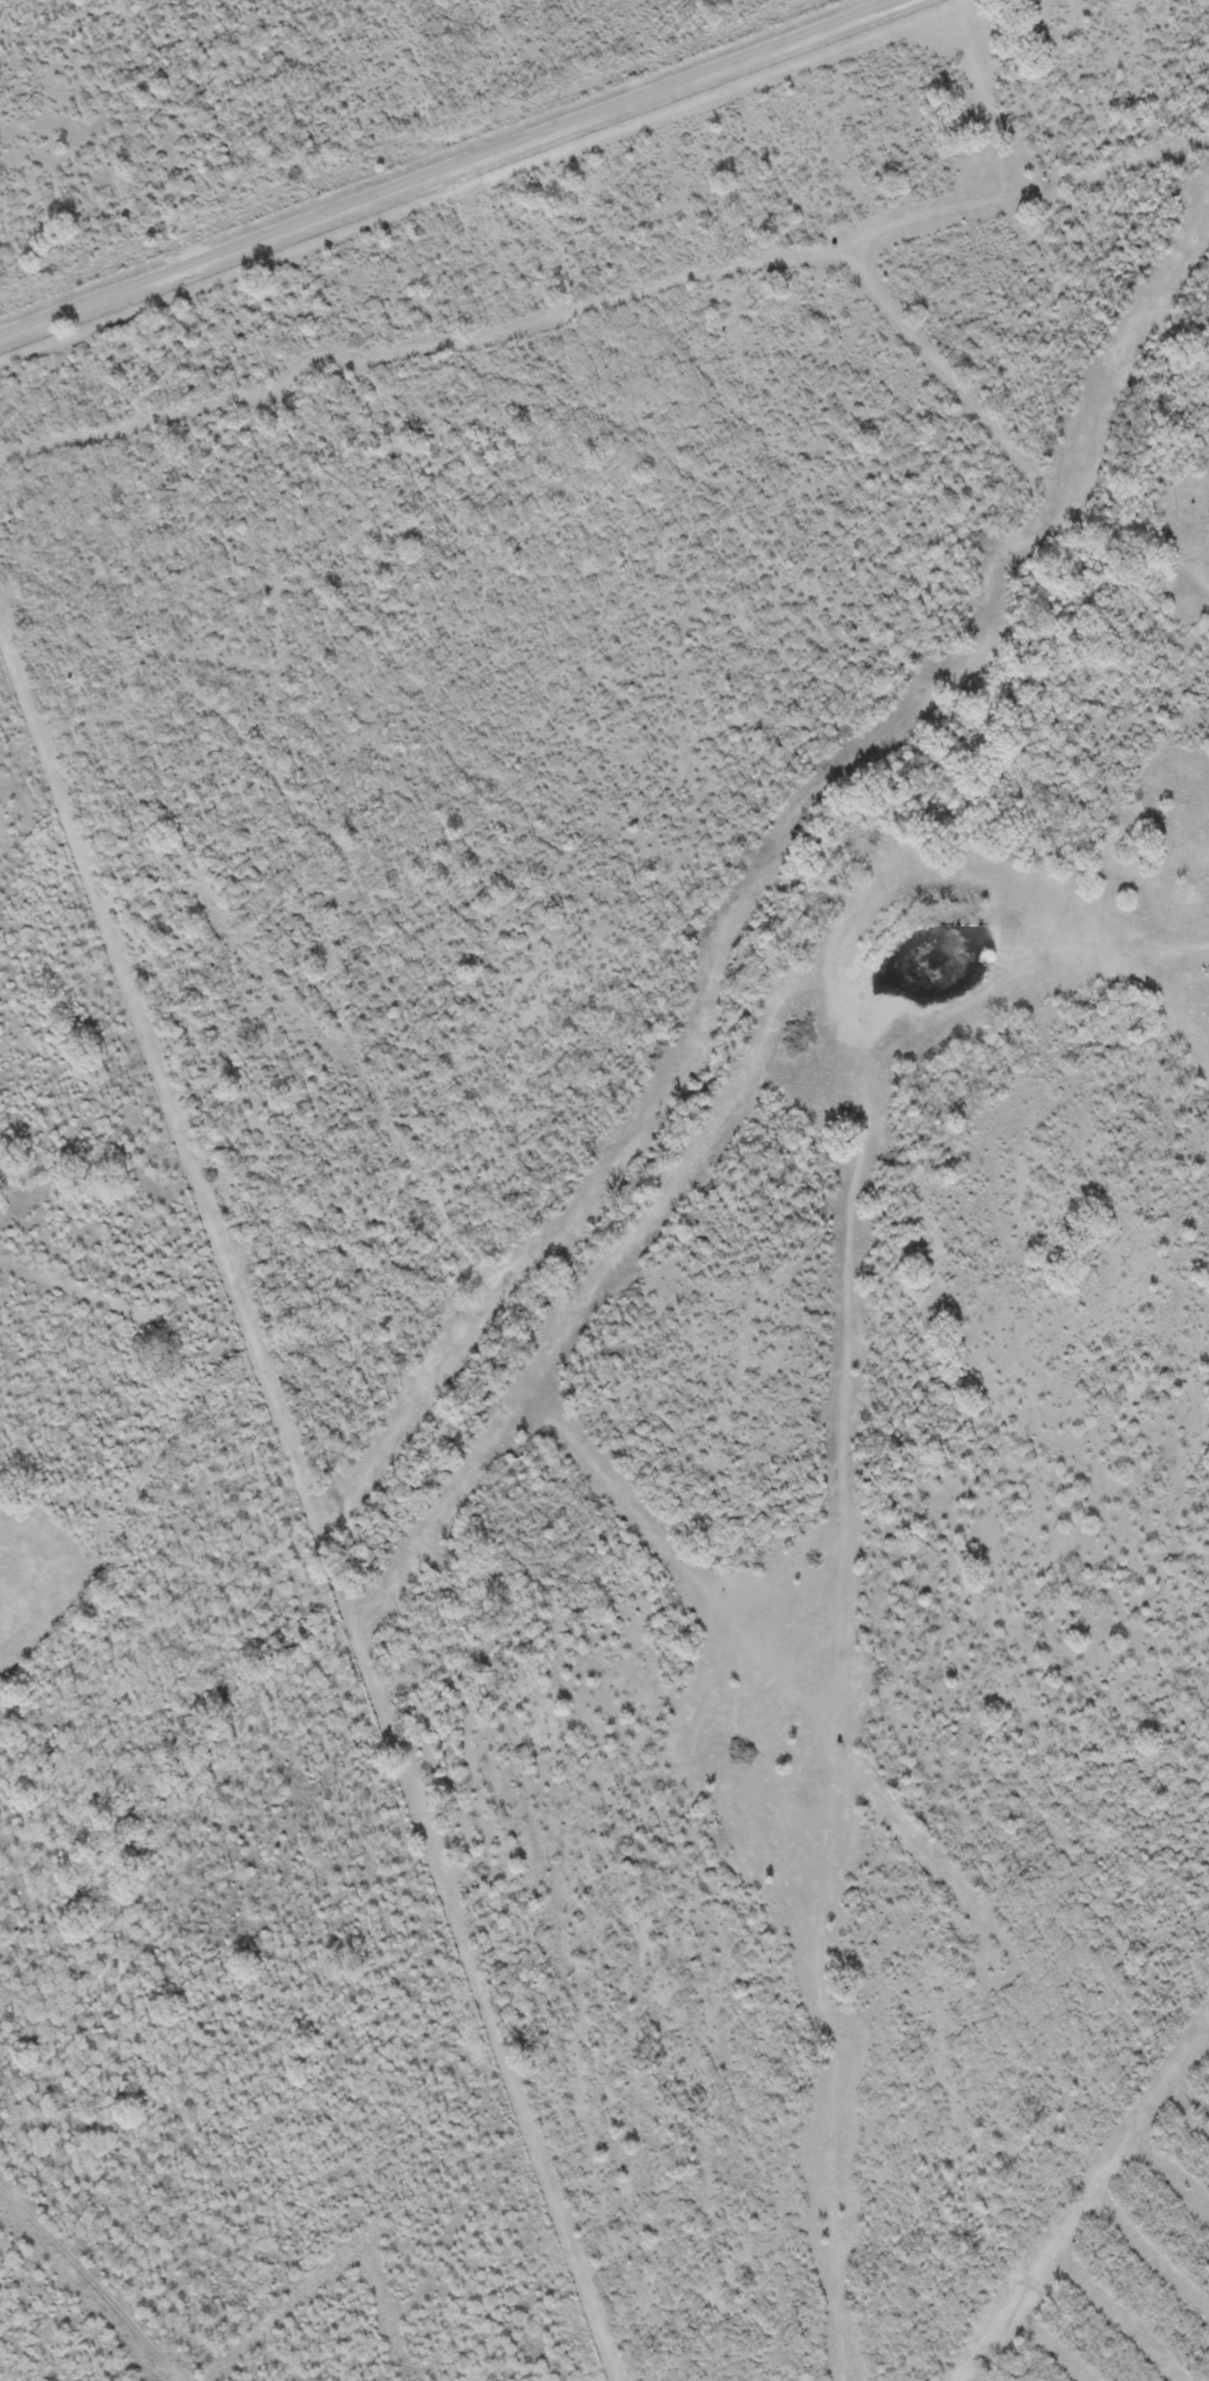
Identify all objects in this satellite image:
road: (452, 169)

